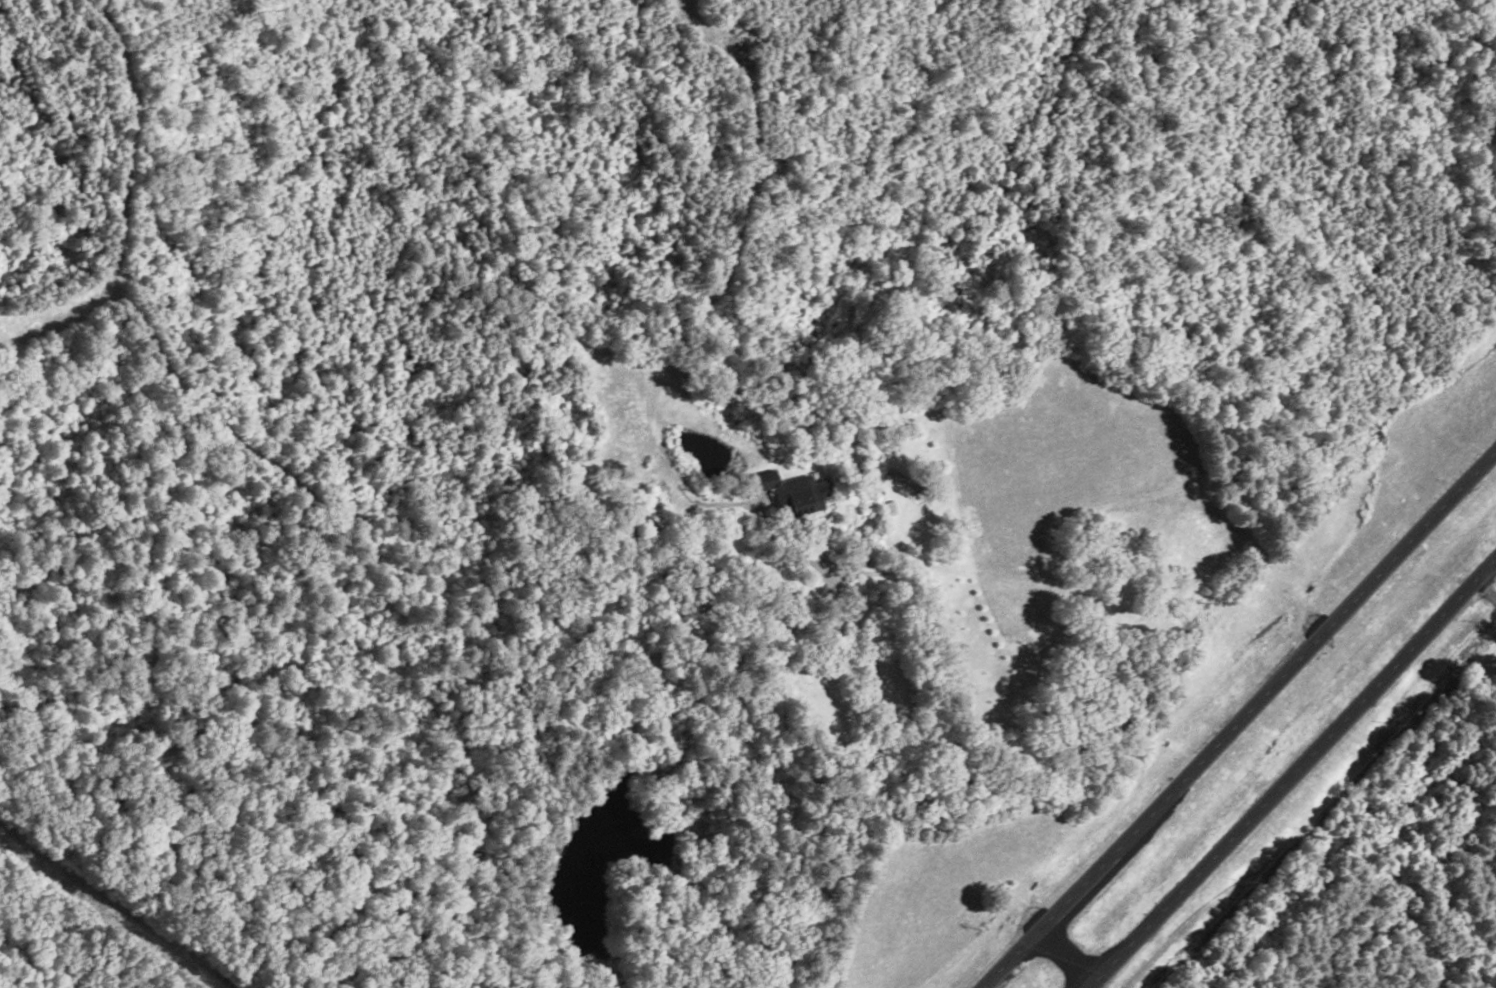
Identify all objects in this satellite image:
building: (802, 495)
road: (1238, 718)
road: (1290, 776)

